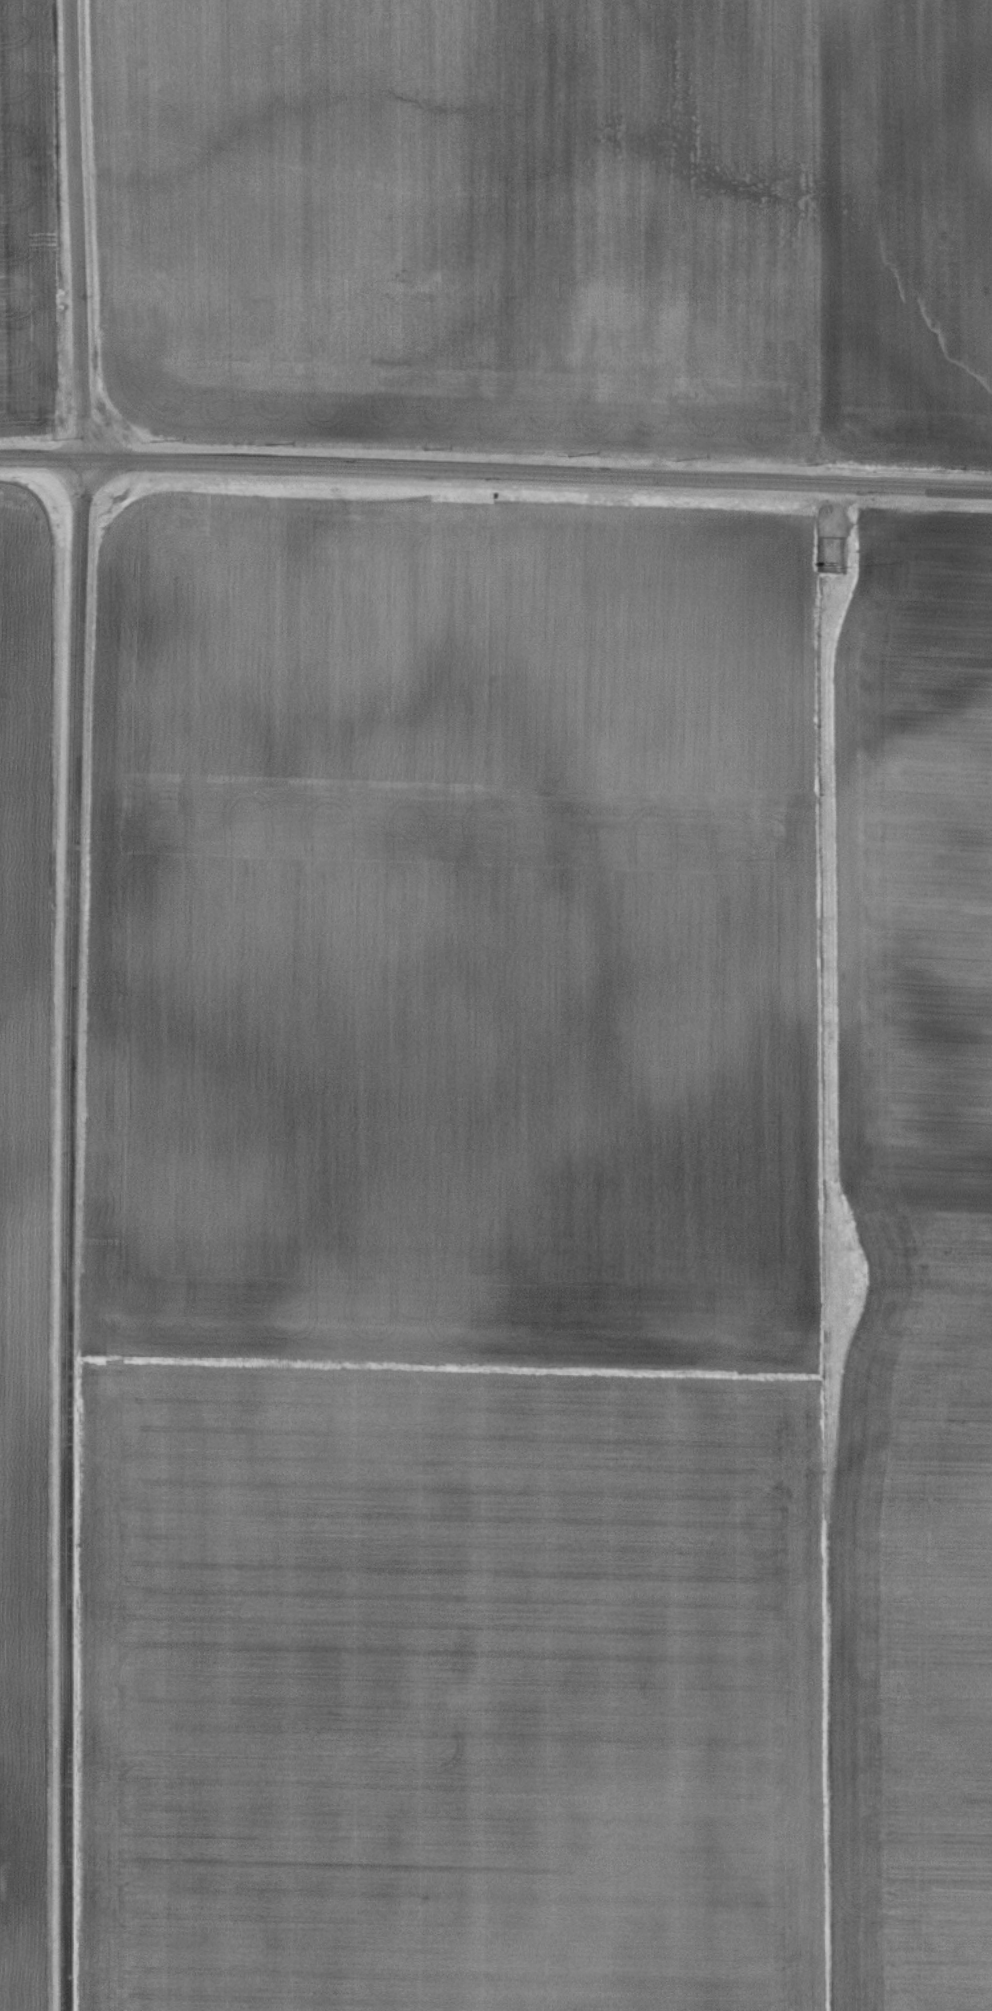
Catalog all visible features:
road: (496, 473)
road: (72, 1005)

